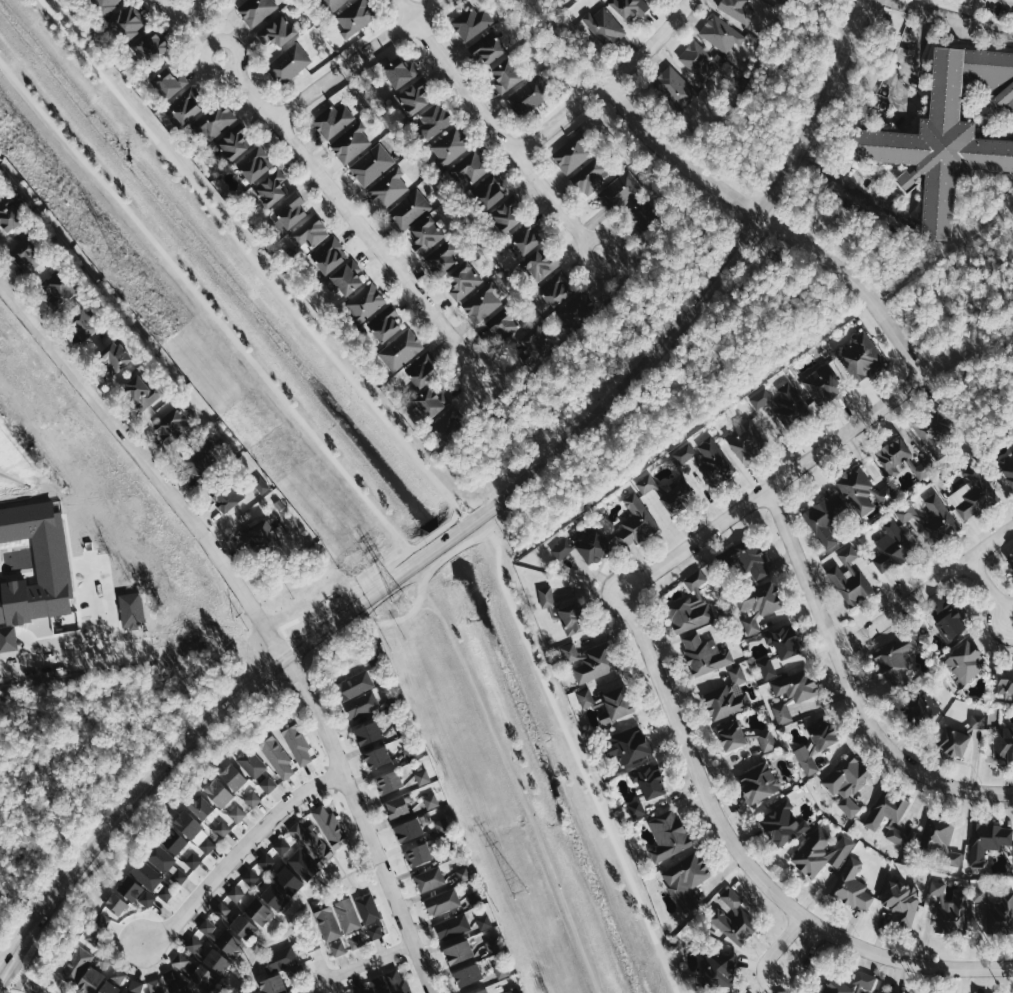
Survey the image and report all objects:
building: (334, 4)
building: (104, 5)
road: (857, 5)
road: (860, 5)
building: (630, 7)
building: (738, 10)
building: (257, 11)
road: (953, 16)
building: (354, 17)
building: (470, 23)
building: (126, 24)
building: (603, 26)
building: (278, 31)
building: (720, 34)
building: (150, 46)
road: (915, 46)
building: (487, 47)
road: (355, 59)
building: (698, 61)
building: (288, 63)
building: (400, 71)
building: (506, 75)
building: (168, 82)
road: (605, 84)
building: (674, 88)
building: (529, 95)
building: (414, 96)
building: (186, 104)
building: (331, 120)
building: (212, 121)
building: (432, 121)
road: (496, 128)
building: (948, 132)
building: (232, 142)
building: (350, 143)
building: (449, 145)
building: (572, 153)
road: (675, 158)
building: (255, 164)
building: (370, 164)
building: (471, 167)
building: (588, 175)
building: (907, 179)
building: (388, 187)
building: (270, 188)
road: (851, 188)
building: (489, 190)
building: (619, 191)
road: (342, 205)
building: (408, 210)
building: (11, 211)
building: (289, 212)
building: (507, 213)
building: (642, 215)
building: (307, 234)
building: (425, 234)
building: (526, 236)
building: (29, 252)
building: (328, 255)
building: (442, 258)
power tower: (122, 263)
building: (540, 264)
building: (347, 279)
road: (856, 279)
building: (463, 281)
building: (61, 282)
road: (710, 287)
building: (556, 288)
building: (365, 301)
building: (481, 302)
building: (575, 311)
building: (84, 321)
building: (504, 321)
building: (386, 324)
building: (534, 343)
building: (399, 350)
building: (114, 353)
building: (860, 358)
building: (423, 370)
building: (823, 385)
building: (141, 391)
building: (431, 402)
building: (783, 404)
building: (171, 424)
building: (449, 425)
building: (935, 430)
building: (746, 441)
building: (684, 453)
building: (895, 454)
road: (150, 462)
building: (201, 462)
building: (713, 463)
road: (795, 467)
building: (1007, 467)
building: (923, 468)
building: (861, 492)
building: (228, 494)
building: (669, 494)
building: (972, 496)
building: (824, 519)
building: (939, 521)
building: (634, 523)
building: (263, 538)
road: (446, 543)
building: (593, 547)
building: (562, 548)
building: (891, 548)
building: (1012, 553)
building: (745, 559)
building: (1009, 563)
building: (849, 578)
road: (925, 591)
road: (992, 592)
building: (546, 598)
power tower: (400, 602)
building: (757, 604)
building: (690, 606)
building: (572, 619)
building: (944, 621)
building: (779, 649)
building: (705, 654)
building: (589, 660)
building: (894, 662)
building: (961, 664)
road: (18, 665)
building: (1004, 682)
road: (849, 684)
building: (353, 685)
building: (791, 692)
building: (727, 696)
building: (585, 698)
building: (618, 703)
building: (361, 705)
building: (918, 708)
building: (978, 721)
building: (400, 728)
building: (370, 733)
building: (744, 737)
building: (818, 742)
building: (951, 743)
building: (297, 744)
building: (630, 744)
building: (1003, 745)
road: (175, 751)
building: (277, 756)
building: (378, 757)
building: (250, 762)
building: (234, 776)
building: (422, 777)
building: (650, 780)
building: (388, 782)
building: (758, 782)
building: (846, 782)
building: (267, 784)
building: (219, 792)
building: (253, 798)
building: (430, 800)
building: (397, 806)
building: (635, 808)
building: (238, 814)
building: (888, 815)
building: (194, 816)
building: (782, 823)
building: (330, 825)
road: (359, 825)
building: (441, 825)
building: (221, 829)
building: (409, 829)
building: (668, 834)
building: (173, 840)
building: (937, 841)
building: (987, 841)
building: (309, 842)
building: (206, 845)
building: (280, 845)
road: (235, 850)
building: (819, 851)
building: (418, 854)
building: (159, 857)
building: (192, 860)
building: (267, 861)
road: (746, 862)
building: (296, 872)
building: (463, 874)
building: (250, 876)
building: (428, 878)
building: (685, 878)
building: (140, 883)
building: (851, 885)
building: (935, 889)
building: (164, 892)
building: (236, 893)
power tower: (519, 893)
building: (274, 896)
building: (441, 902)
building: (900, 902)
building: (117, 903)
building: (367, 908)
building: (347, 915)
building: (992, 915)
building: (951, 916)
building: (251, 918)
building: (733, 918)
building: (100, 920)
building: (234, 920)
building: (484, 922)
building: (327, 923)
building: (452, 926)
building: (208, 927)
building: (375, 931)
building: (92, 937)
building: (229, 942)
building: (194, 944)
building: (337, 948)
road: (793, 948)
building: (460, 951)
building: (279, 959)
building: (217, 960)
road: (360, 962)
building: (462, 963)
building: (74, 965)
building: (718, 969)
building: (501, 970)
building: (196, 973)
building: (469, 974)
building: (91, 980)
road: (21, 981)
building: (848, 983)
building: (272, 984)
building: (154, 986)
building: (109, 987)
building: (135, 987)
road: (2, 989)
building: (357, 989)
building: (182, 990)
building: (514, 990)
building: (482, 991)
building: (289, 992)
building: (308, 992)
building: (385, 992)

